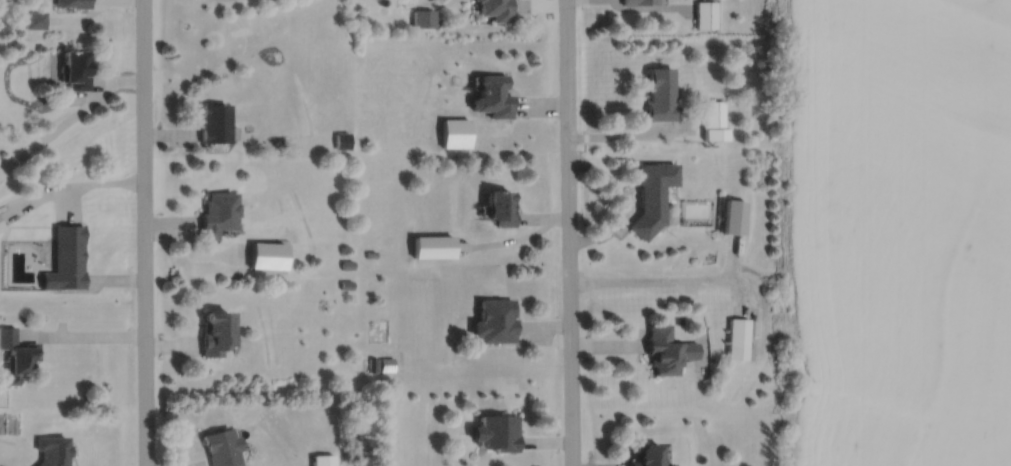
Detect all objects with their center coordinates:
building: (638, 1)
building: (72, 3)
building: (496, 9)
building: (705, 13)
building: (424, 17)
building: (34, 18)
building: (74, 68)
building: (659, 93)
building: (493, 96)
building: (67, 107)
building: (714, 113)
building: (214, 123)
building: (456, 132)
building: (342, 140)
building: (651, 196)
building: (500, 207)
building: (215, 214)
building: (733, 217)
building: (0, 227)
road: (144, 232)
road: (568, 232)
crop: (898, 232)
building: (432, 246)
building: (370, 253)
building: (65, 259)
building: (346, 264)
road: (654, 278)
building: (346, 284)
building: (495, 321)
building: (213, 333)
road: (83, 335)
building: (737, 337)
building: (668, 348)
building: (16, 355)
building: (373, 364)
building: (497, 430)
building: (220, 446)
building: (53, 449)
building: (645, 453)
building: (322, 459)

